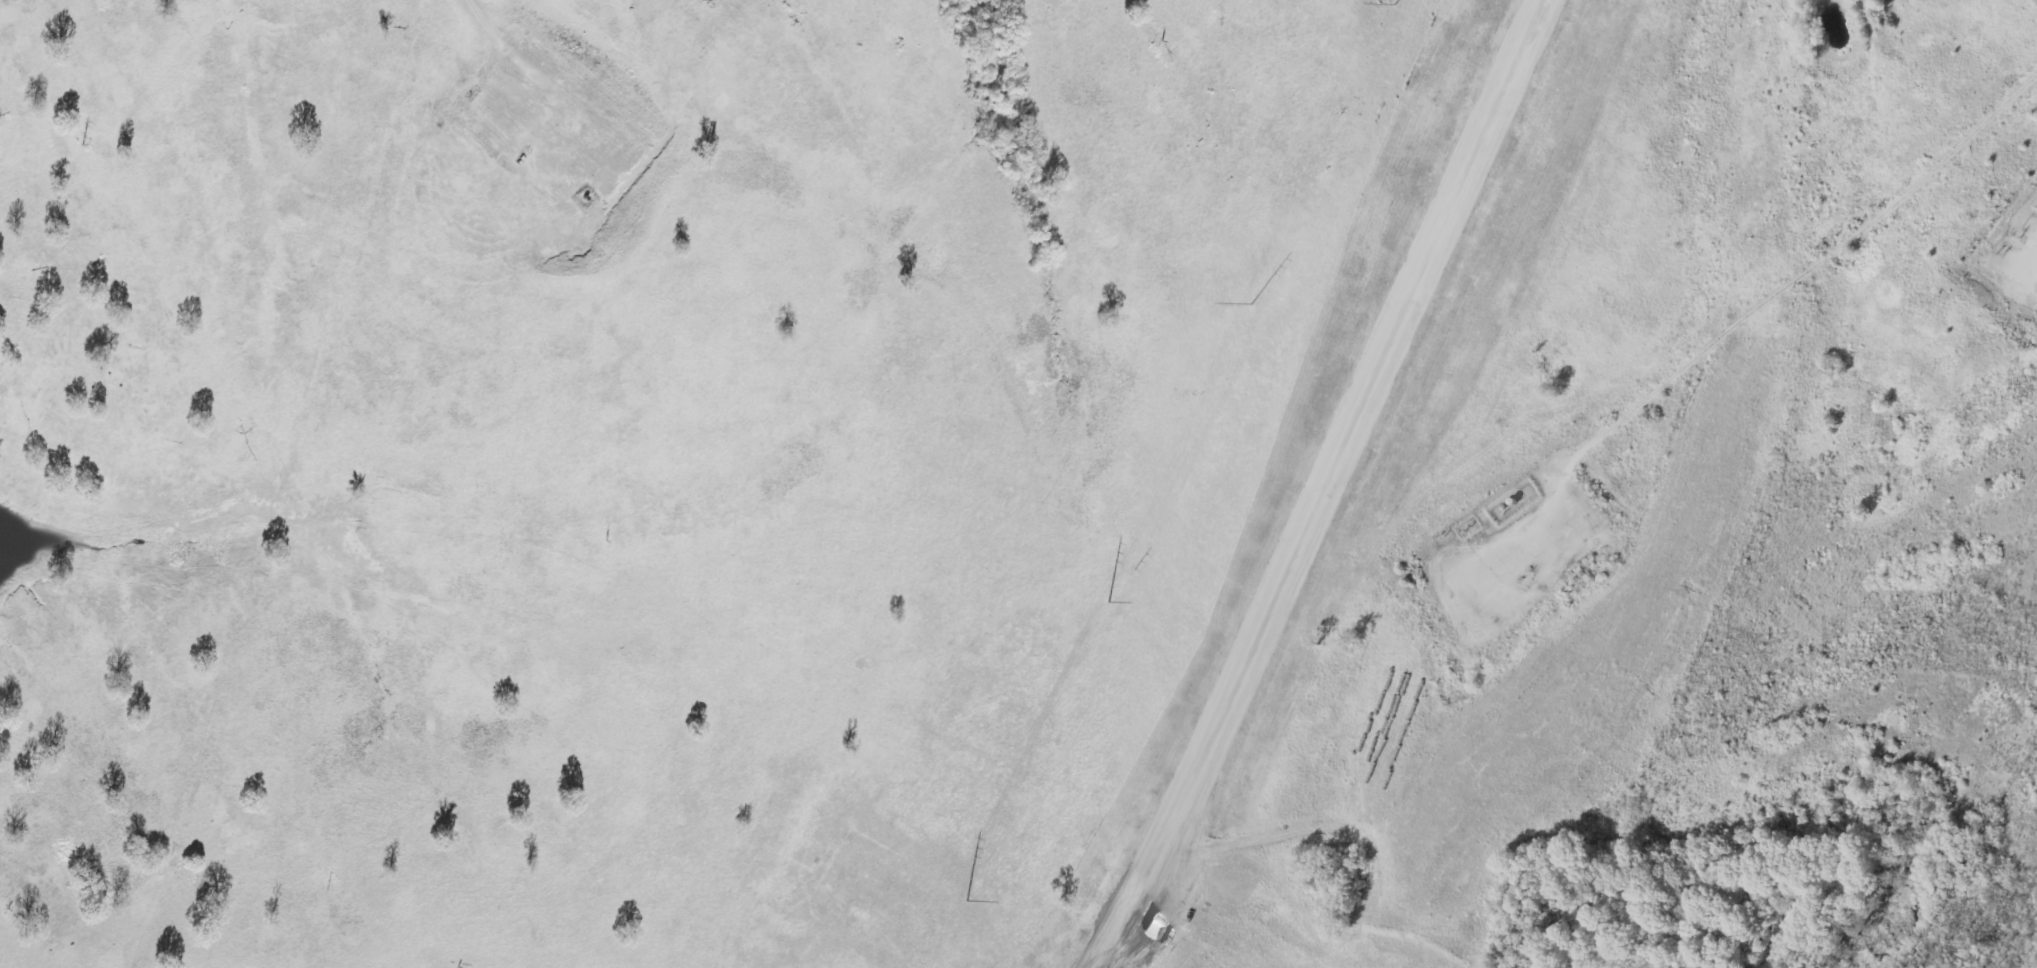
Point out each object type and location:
road: (180, 273)
road: (1324, 485)

